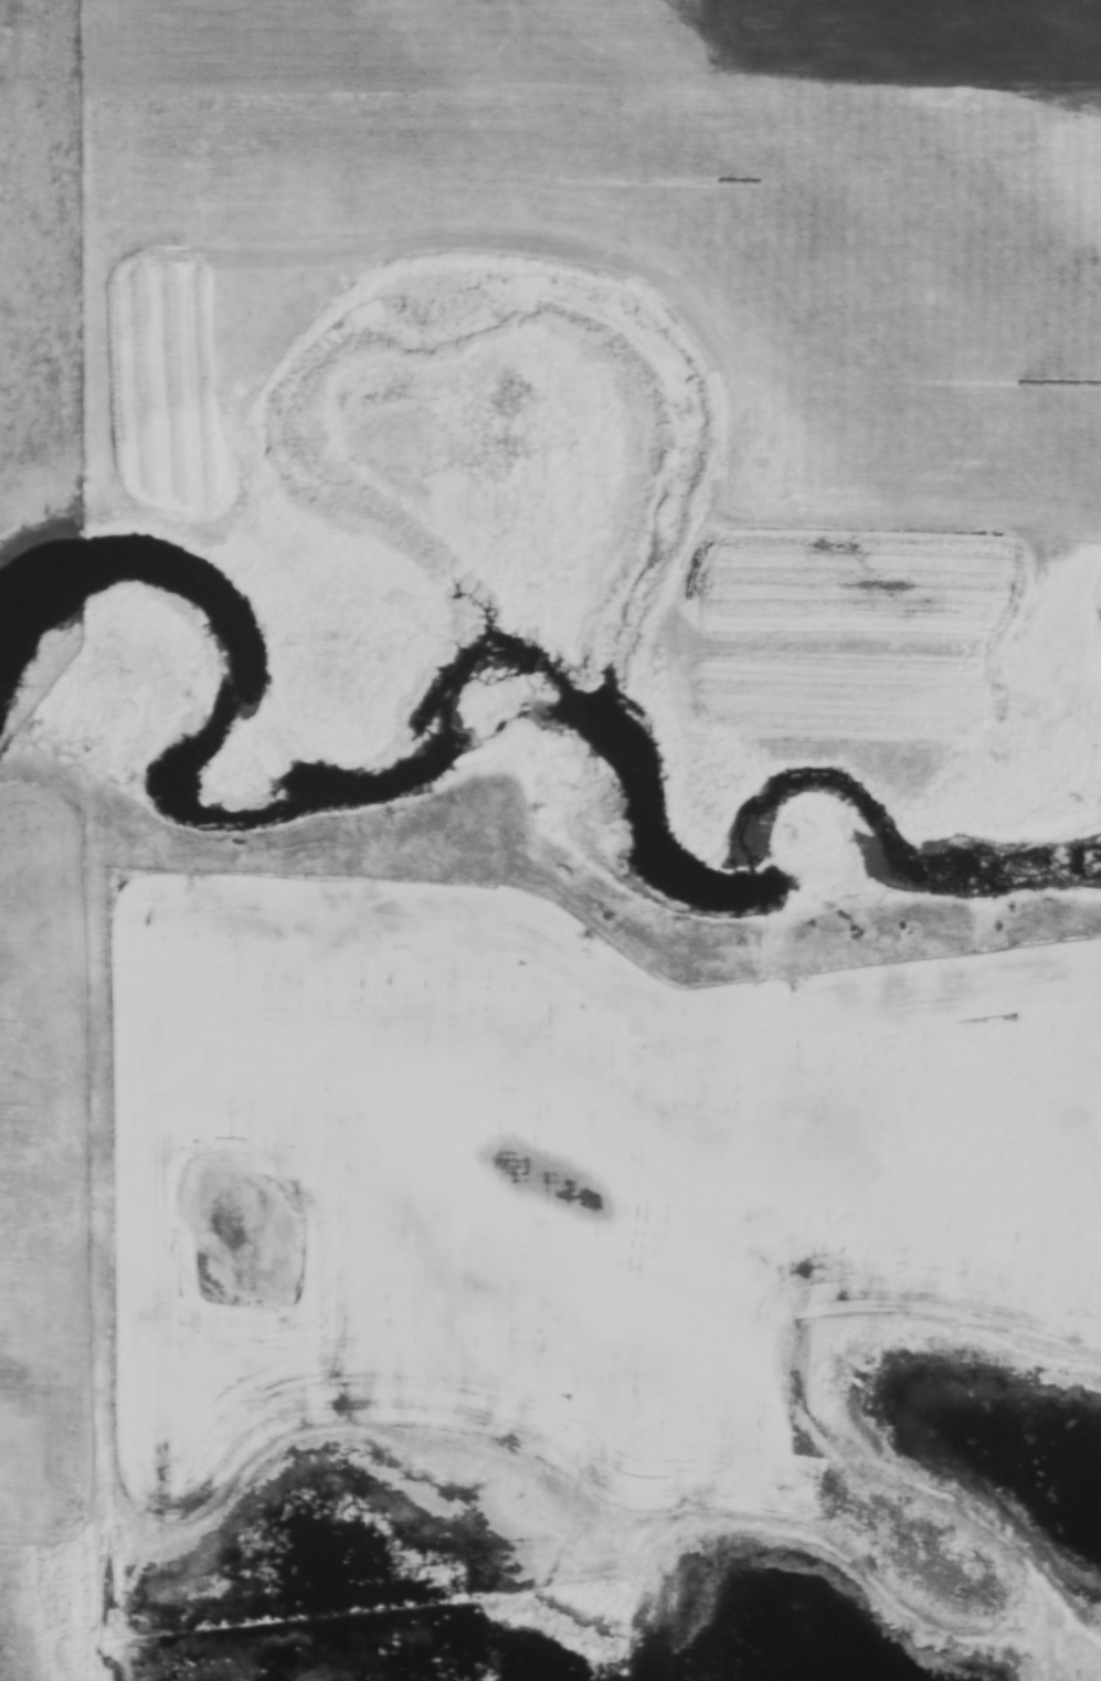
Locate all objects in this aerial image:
river: (494, 689)

